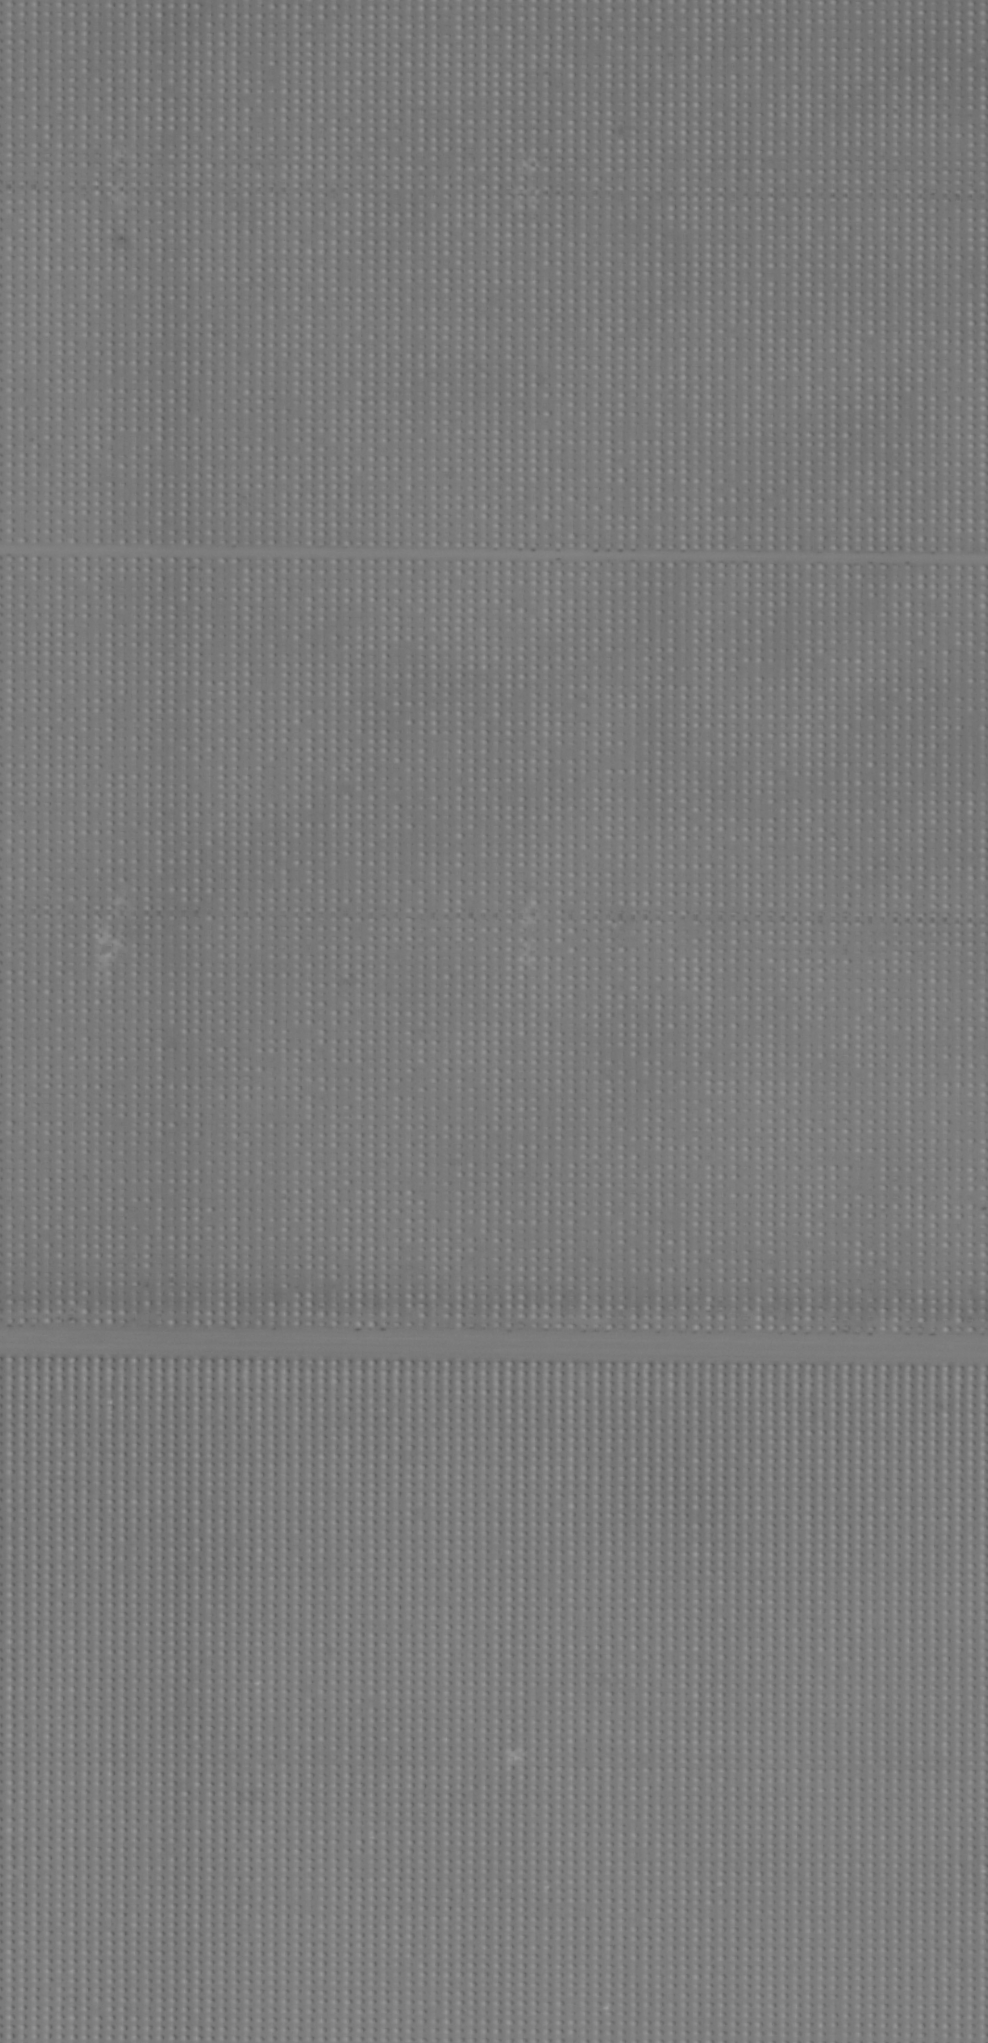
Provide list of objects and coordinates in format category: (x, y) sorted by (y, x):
crop: (494, 1021)
road: (494, 1312)

